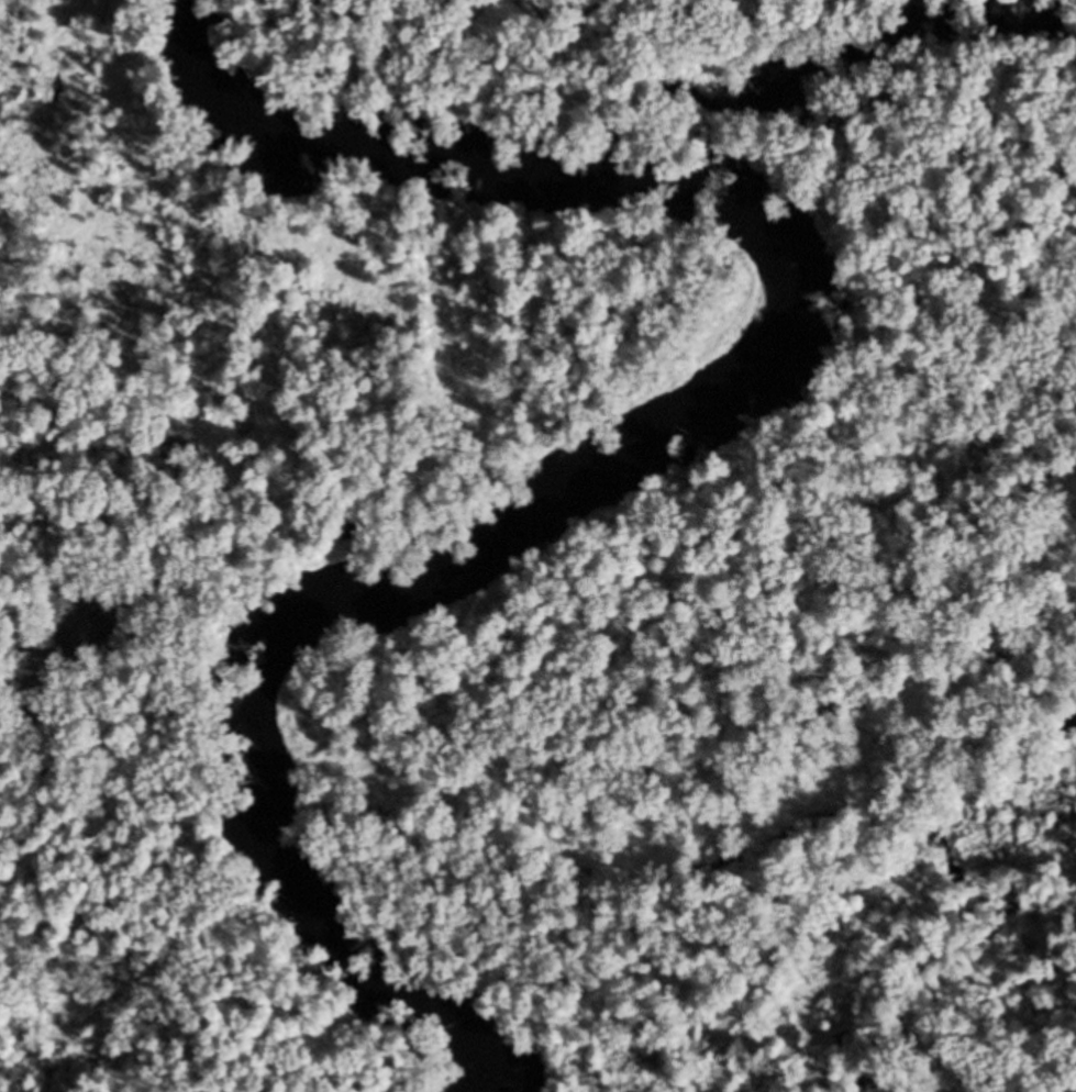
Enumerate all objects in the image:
river: (657, 546)

